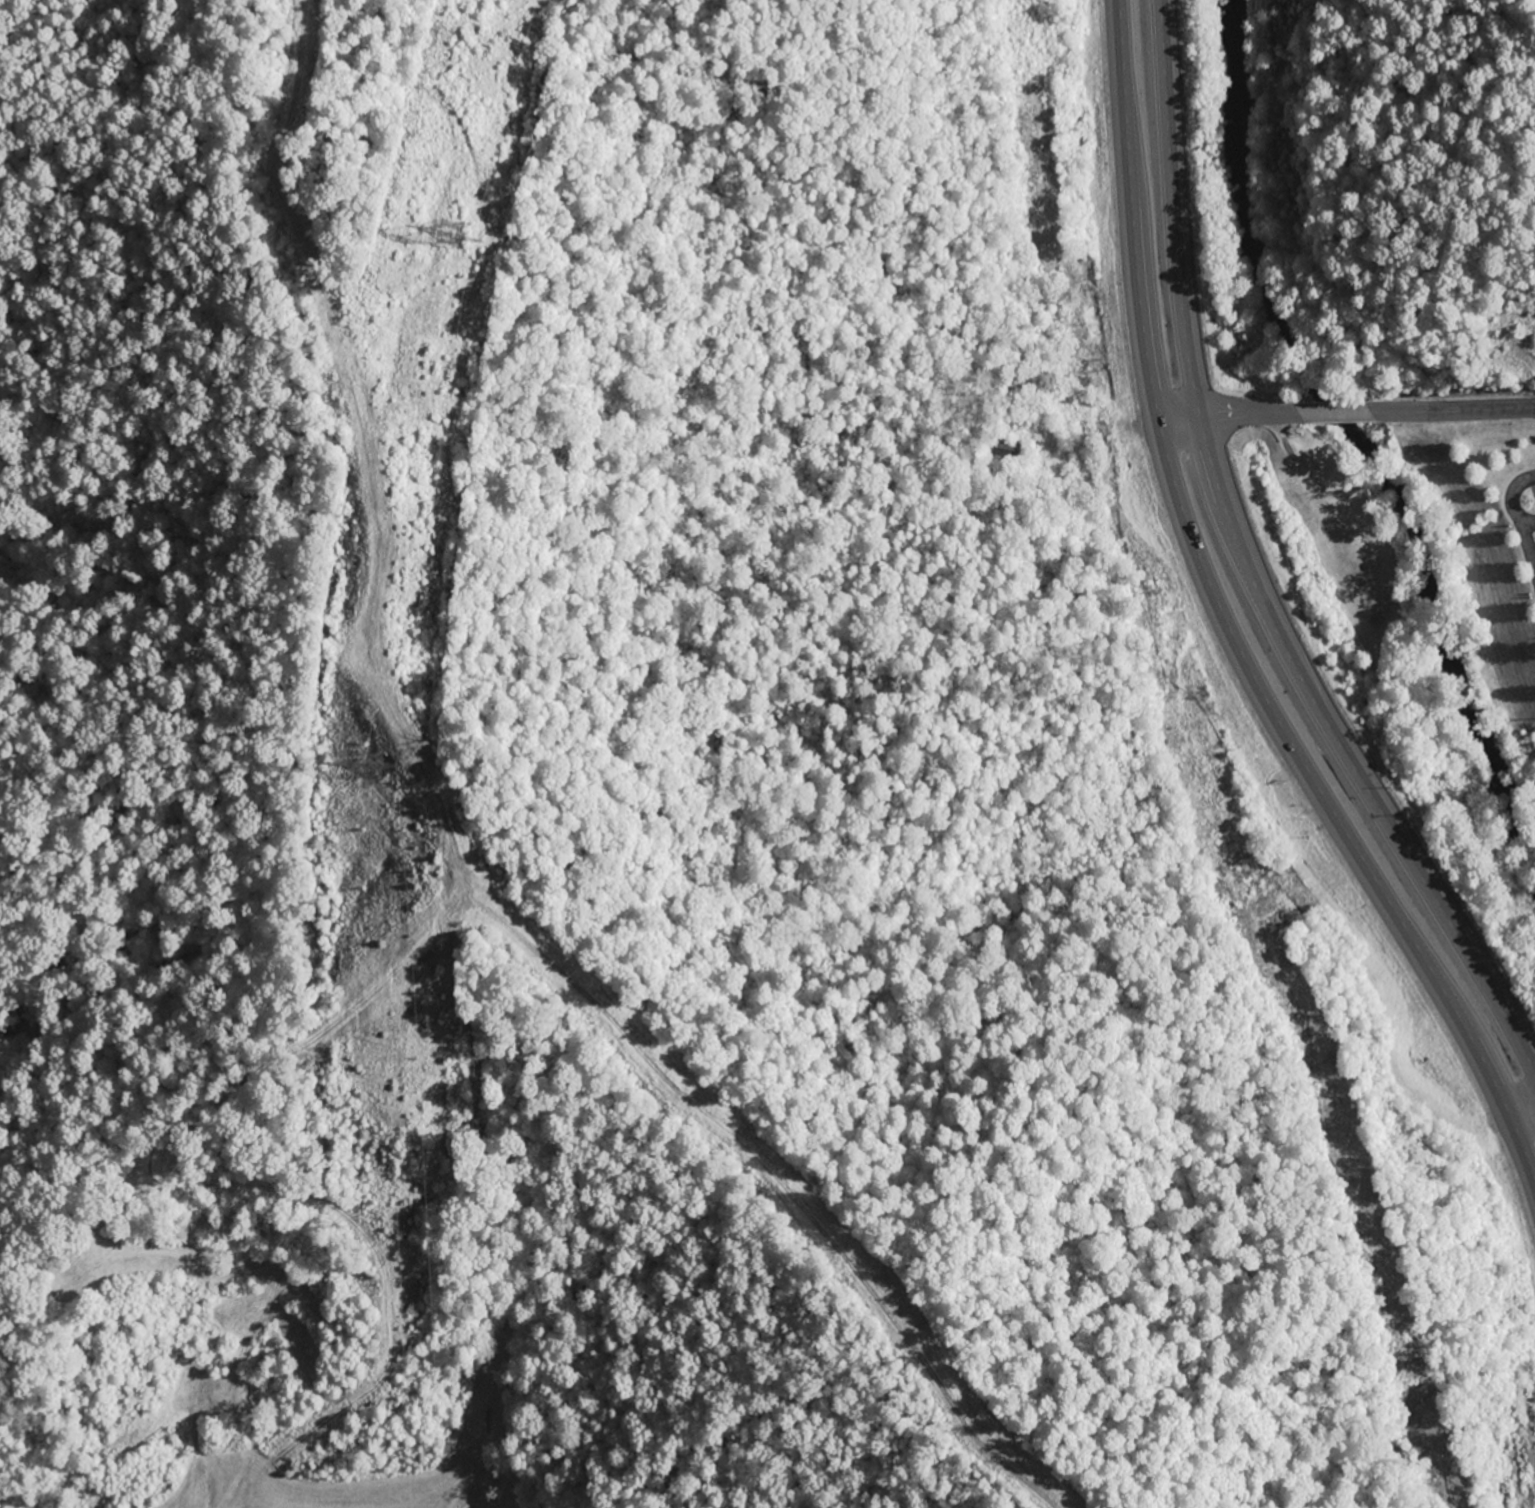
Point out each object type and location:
power tower: (452, 262)
road: (1344, 409)
road: (1247, 580)
road: (1226, 629)
power tower: (376, 790)

